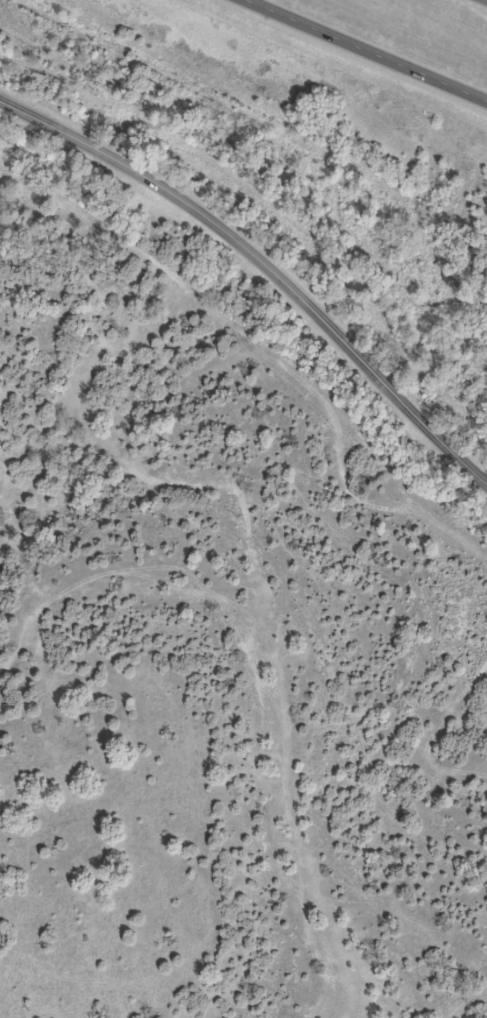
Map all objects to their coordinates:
road: (362, 53)
road: (264, 264)

